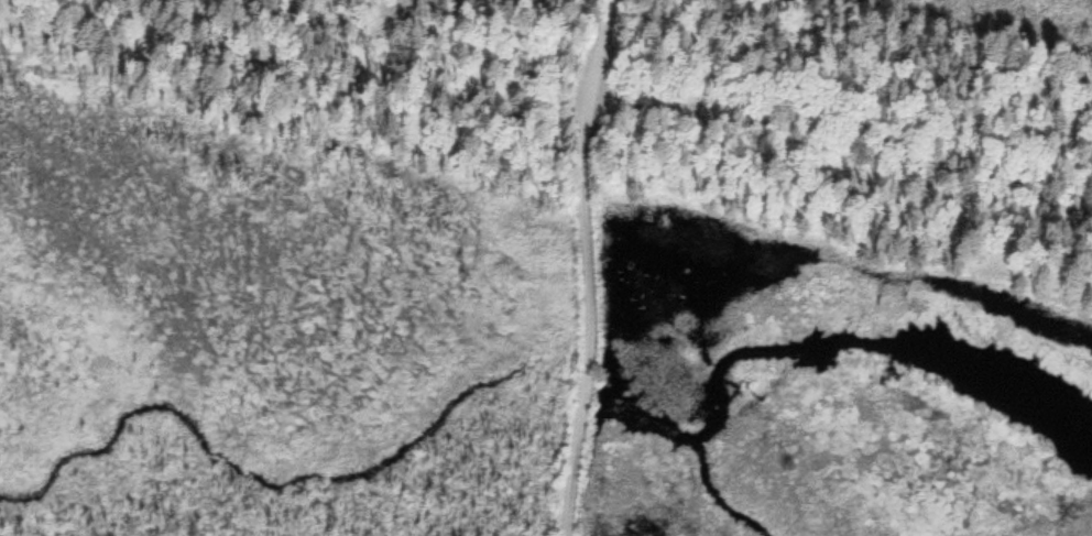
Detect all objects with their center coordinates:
road: (843, 118)
road: (581, 265)

